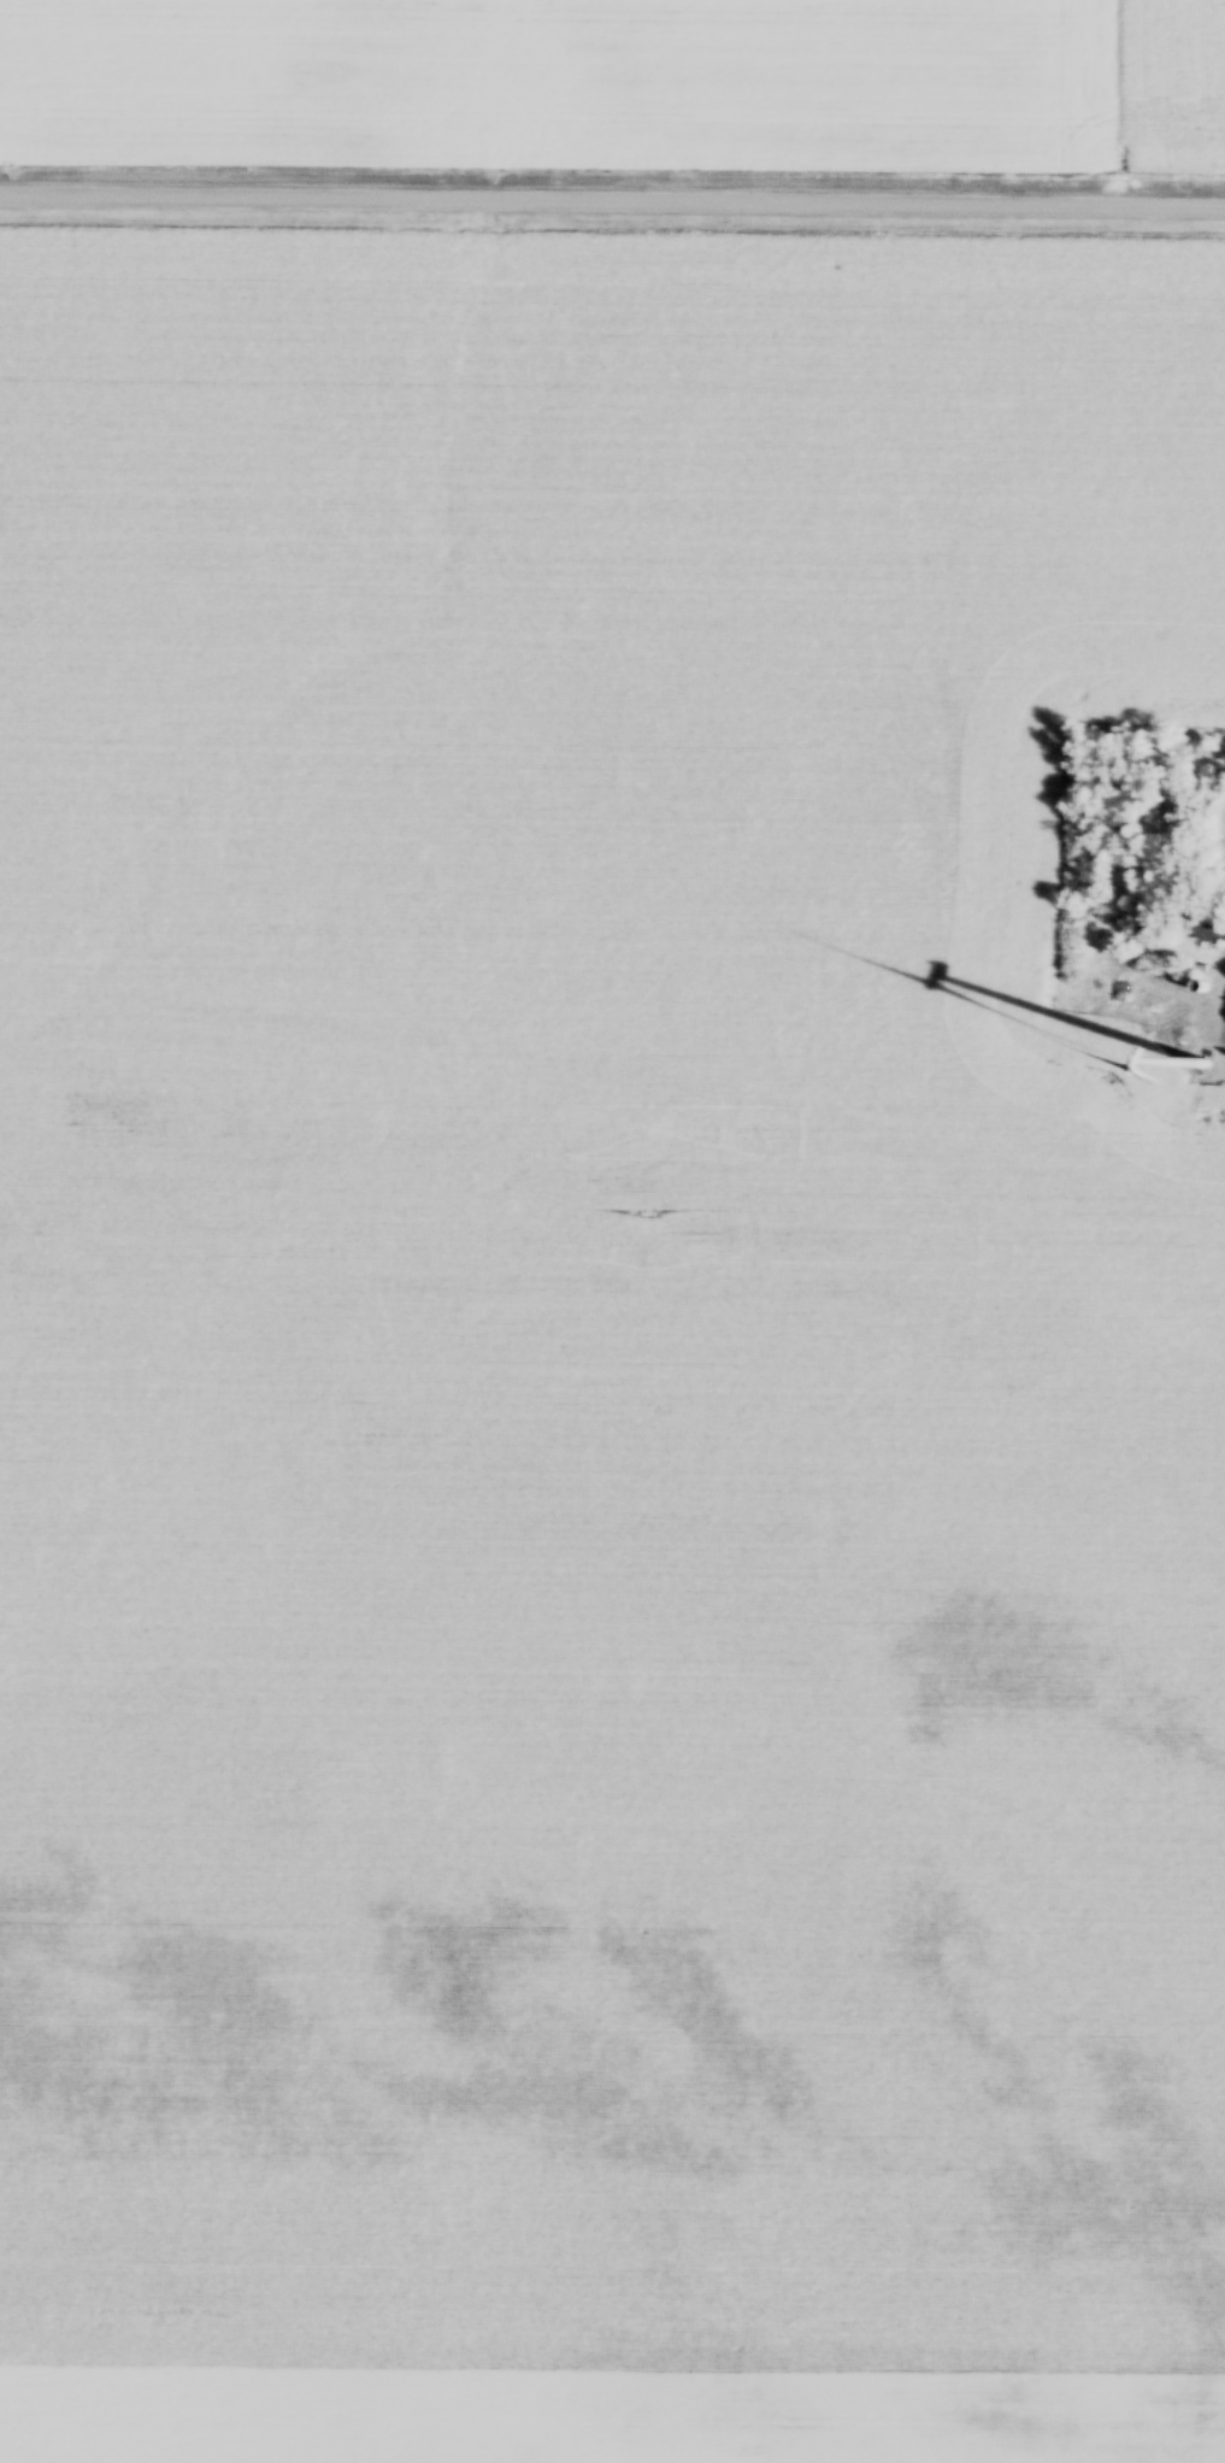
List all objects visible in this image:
road: (612, 204)
building: (1211, 930)
wind turbine: (1202, 1050)

